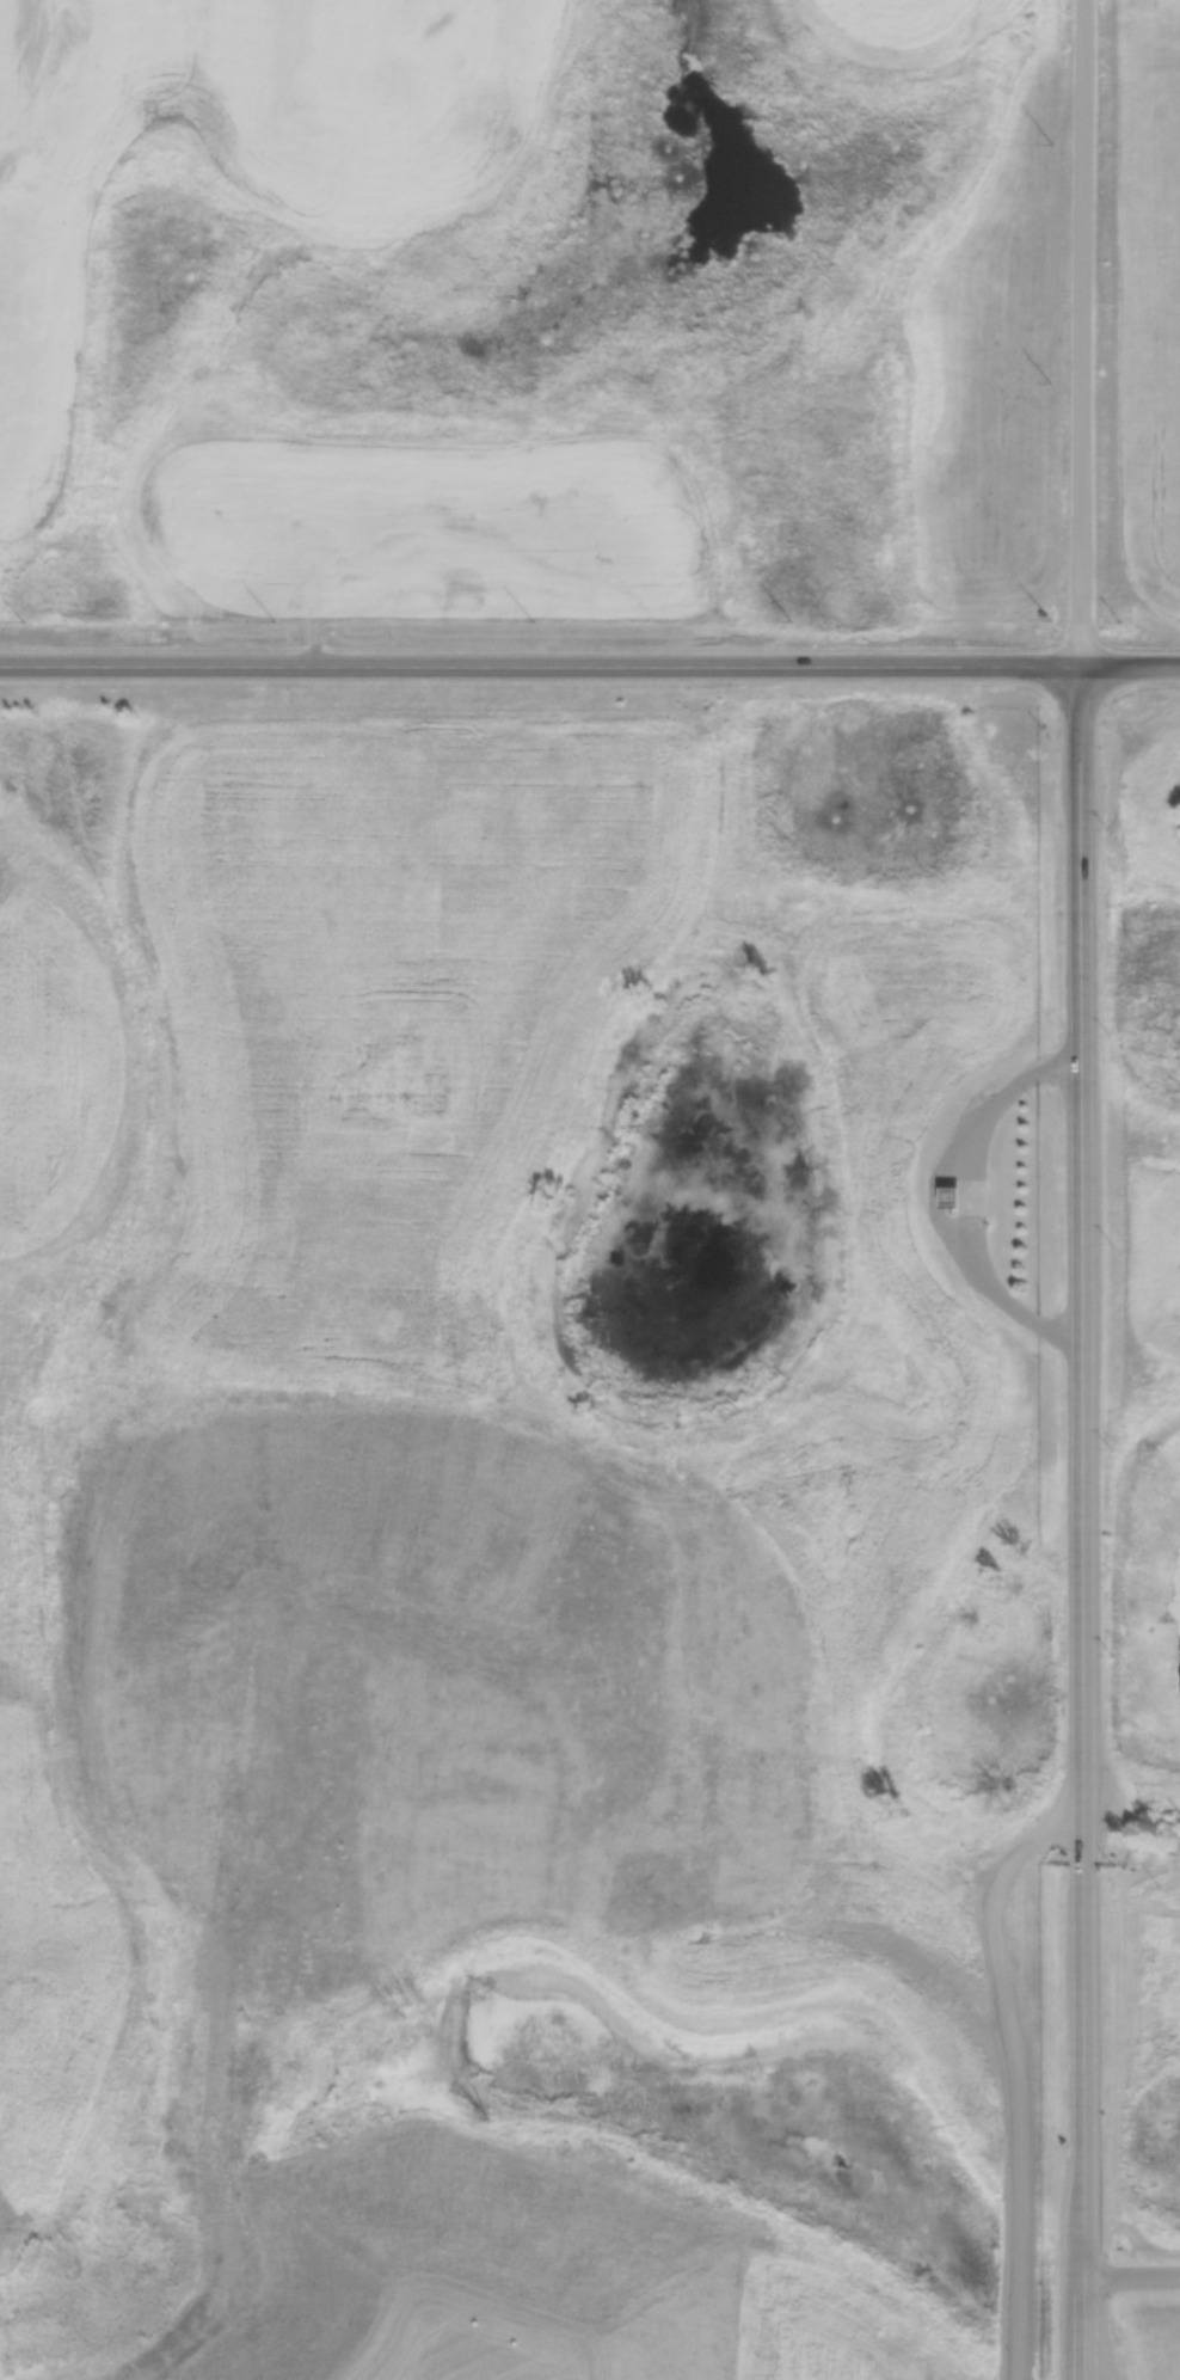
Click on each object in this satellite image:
road: (590, 667)
road: (1081, 1189)
building: (972, 1190)
road: (933, 1198)
road: (1132, 2280)

